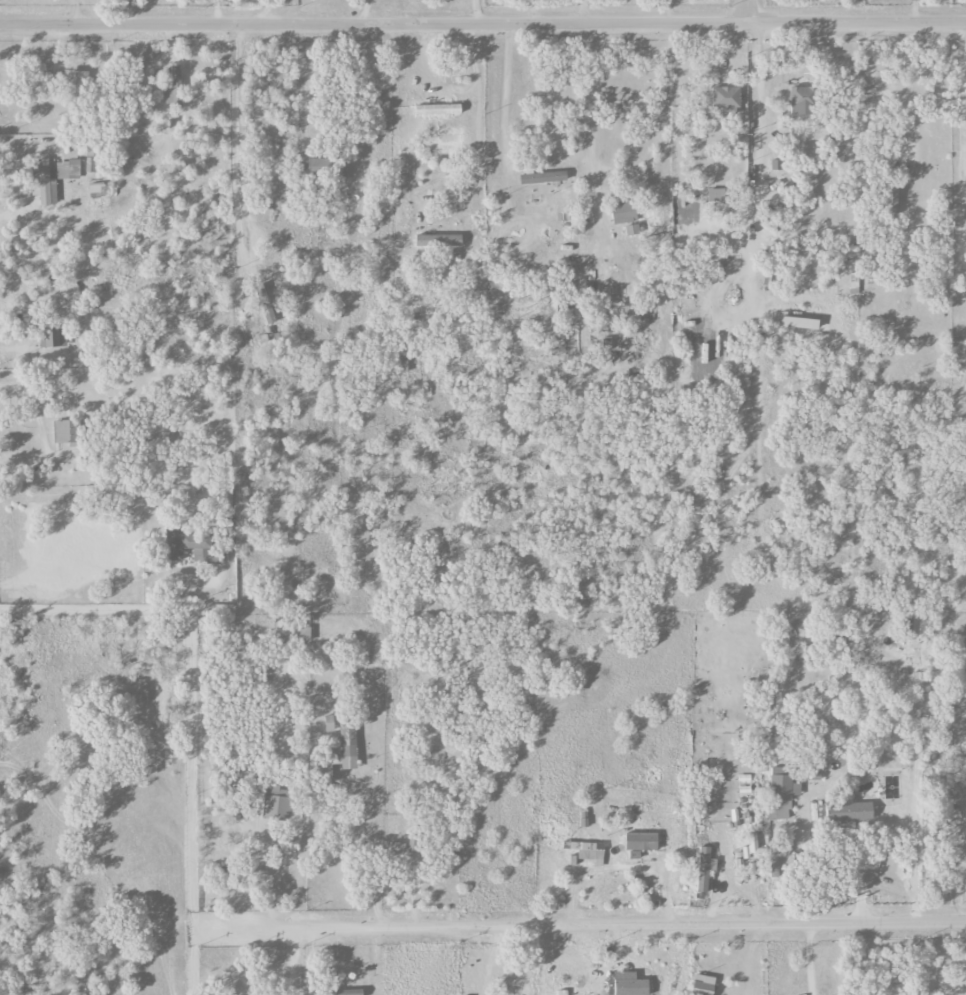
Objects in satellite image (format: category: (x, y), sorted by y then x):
road: (363, 11)
road: (475, 11)
road: (529, 11)
road: (747, 11)
road: (910, 11)
road: (482, 22)
road: (423, 78)
building: (74, 83)
building: (174, 87)
road: (585, 95)
building: (725, 97)
building: (802, 100)
road: (477, 107)
building: (438, 109)
road: (961, 144)
road: (754, 147)
road: (233, 153)
building: (775, 164)
building: (312, 167)
building: (67, 169)
building: (542, 177)
building: (44, 183)
building: (96, 188)
building: (715, 195)
building: (890, 199)
building: (623, 212)
building: (631, 230)
building: (438, 240)
building: (853, 283)
building: (265, 295)
building: (798, 323)
building: (51, 337)
building: (403, 364)
building: (65, 432)
building: (190, 546)
road: (121, 608)
building: (304, 635)
building: (329, 723)
building: (339, 751)
building: (744, 784)
building: (781, 793)
building: (275, 802)
building: (849, 812)
building: (583, 819)
road: (723, 832)
building: (641, 841)
building: (752, 843)
building: (412, 844)
building: (396, 846)
building: (585, 851)
building: (704, 868)
road: (363, 872)
road: (749, 892)
road: (586, 926)
road: (748, 958)
road: (808, 958)
road: (526, 961)
building: (704, 983)
building: (630, 987)
building: (340, 992)

